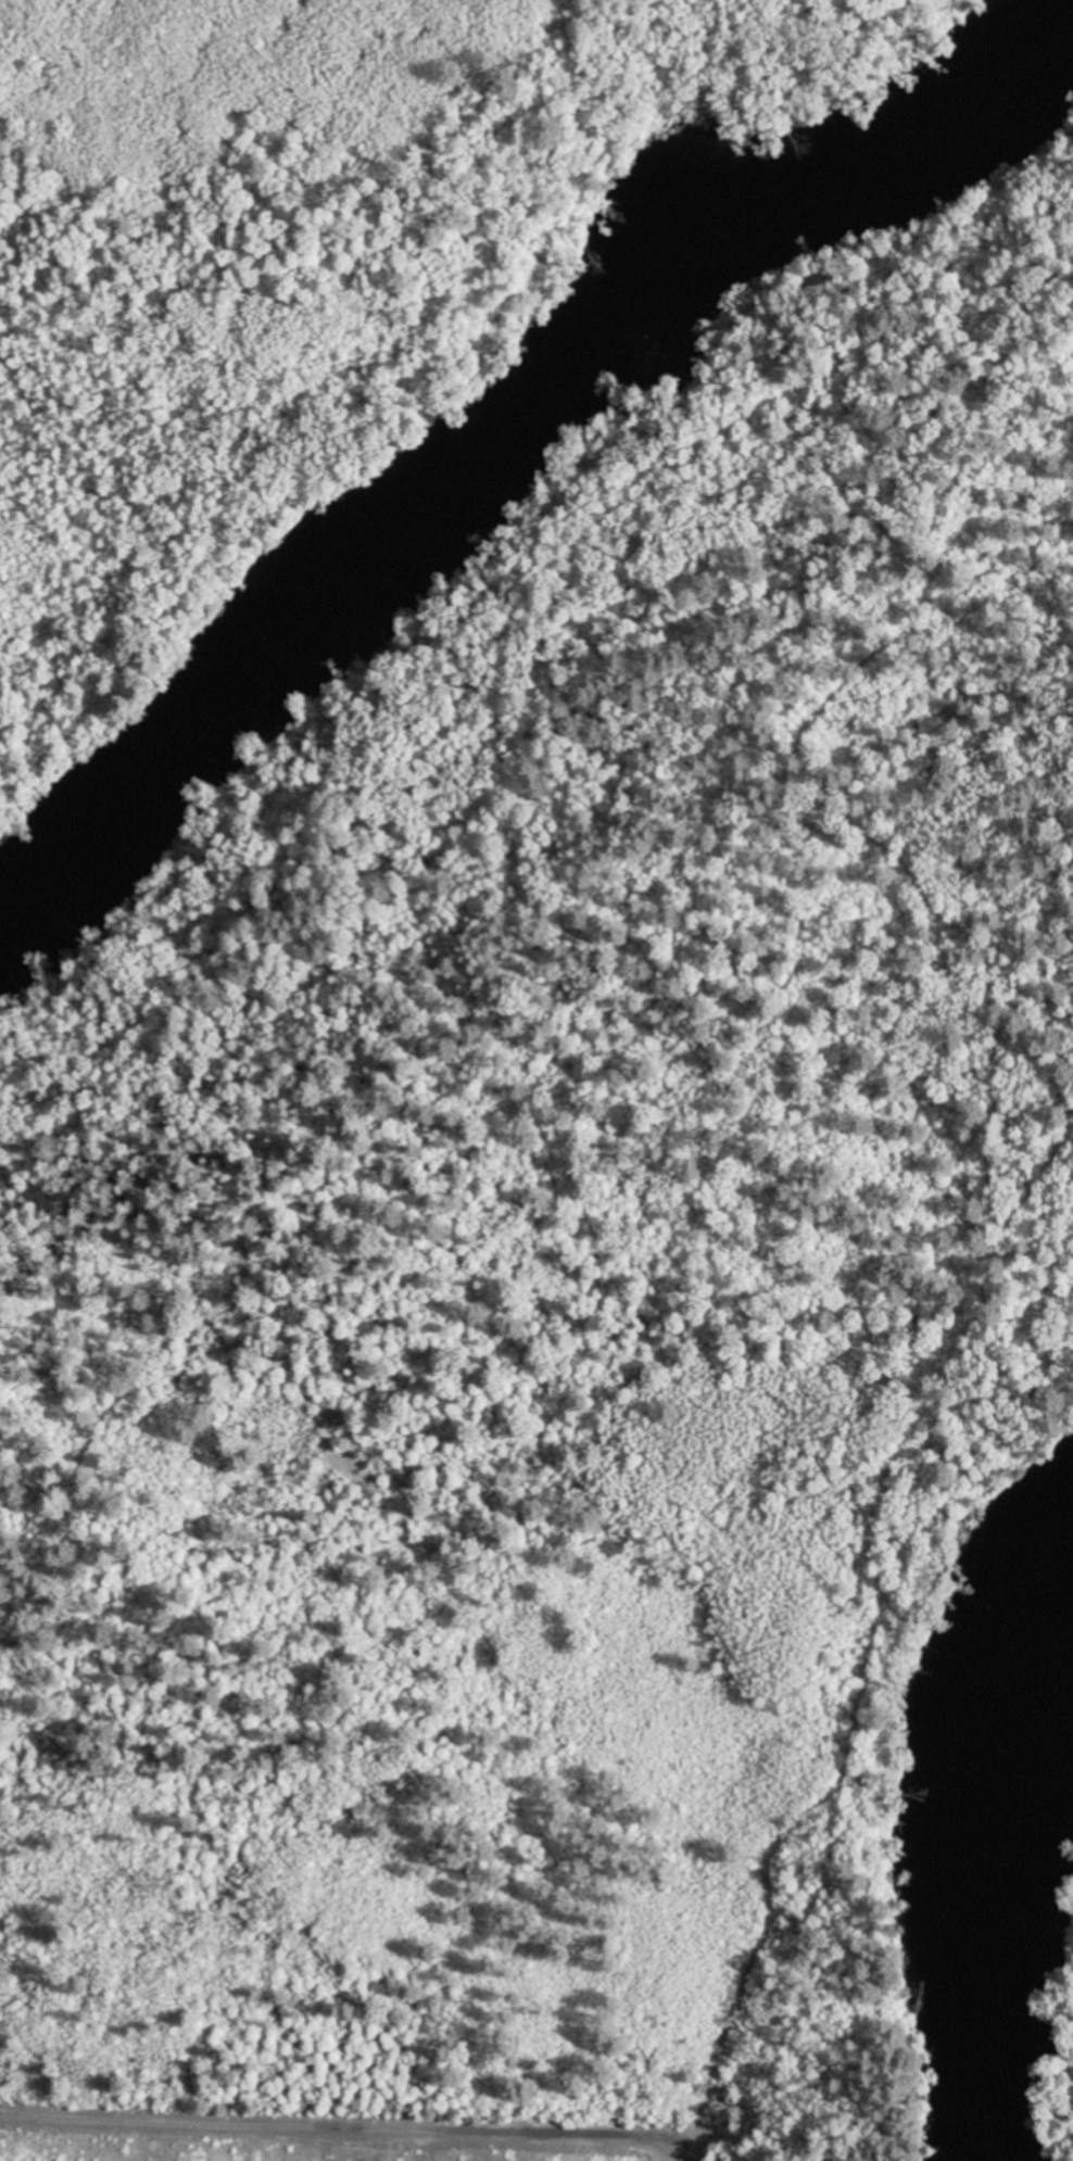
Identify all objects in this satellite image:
river: (512, 432)
river: (986, 1859)
road: (345, 2125)

